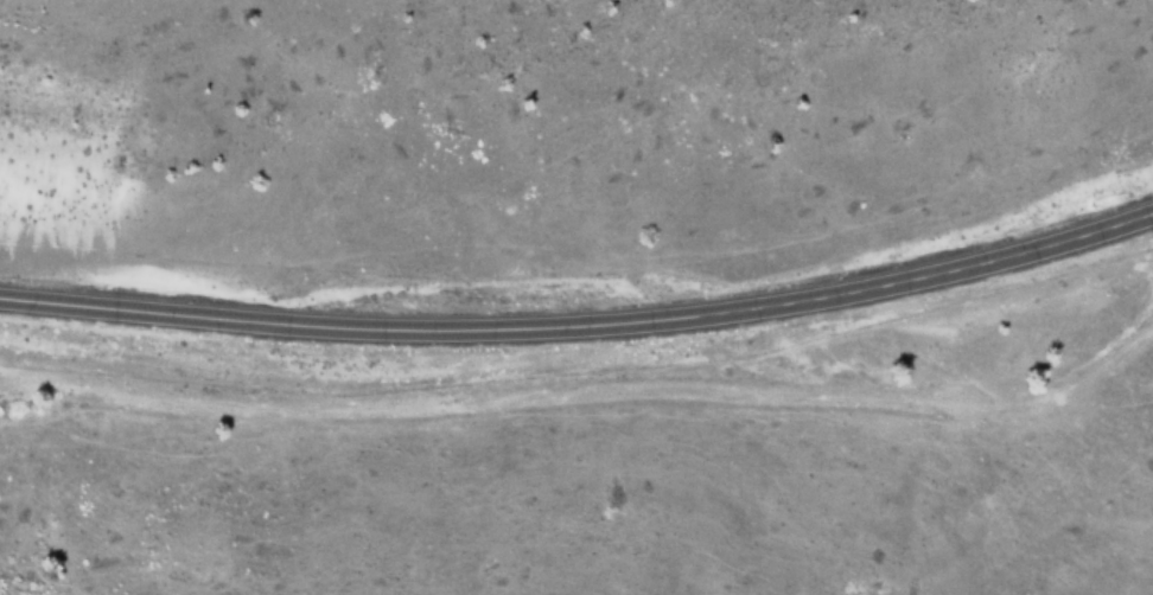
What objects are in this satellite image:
road: (581, 324)

